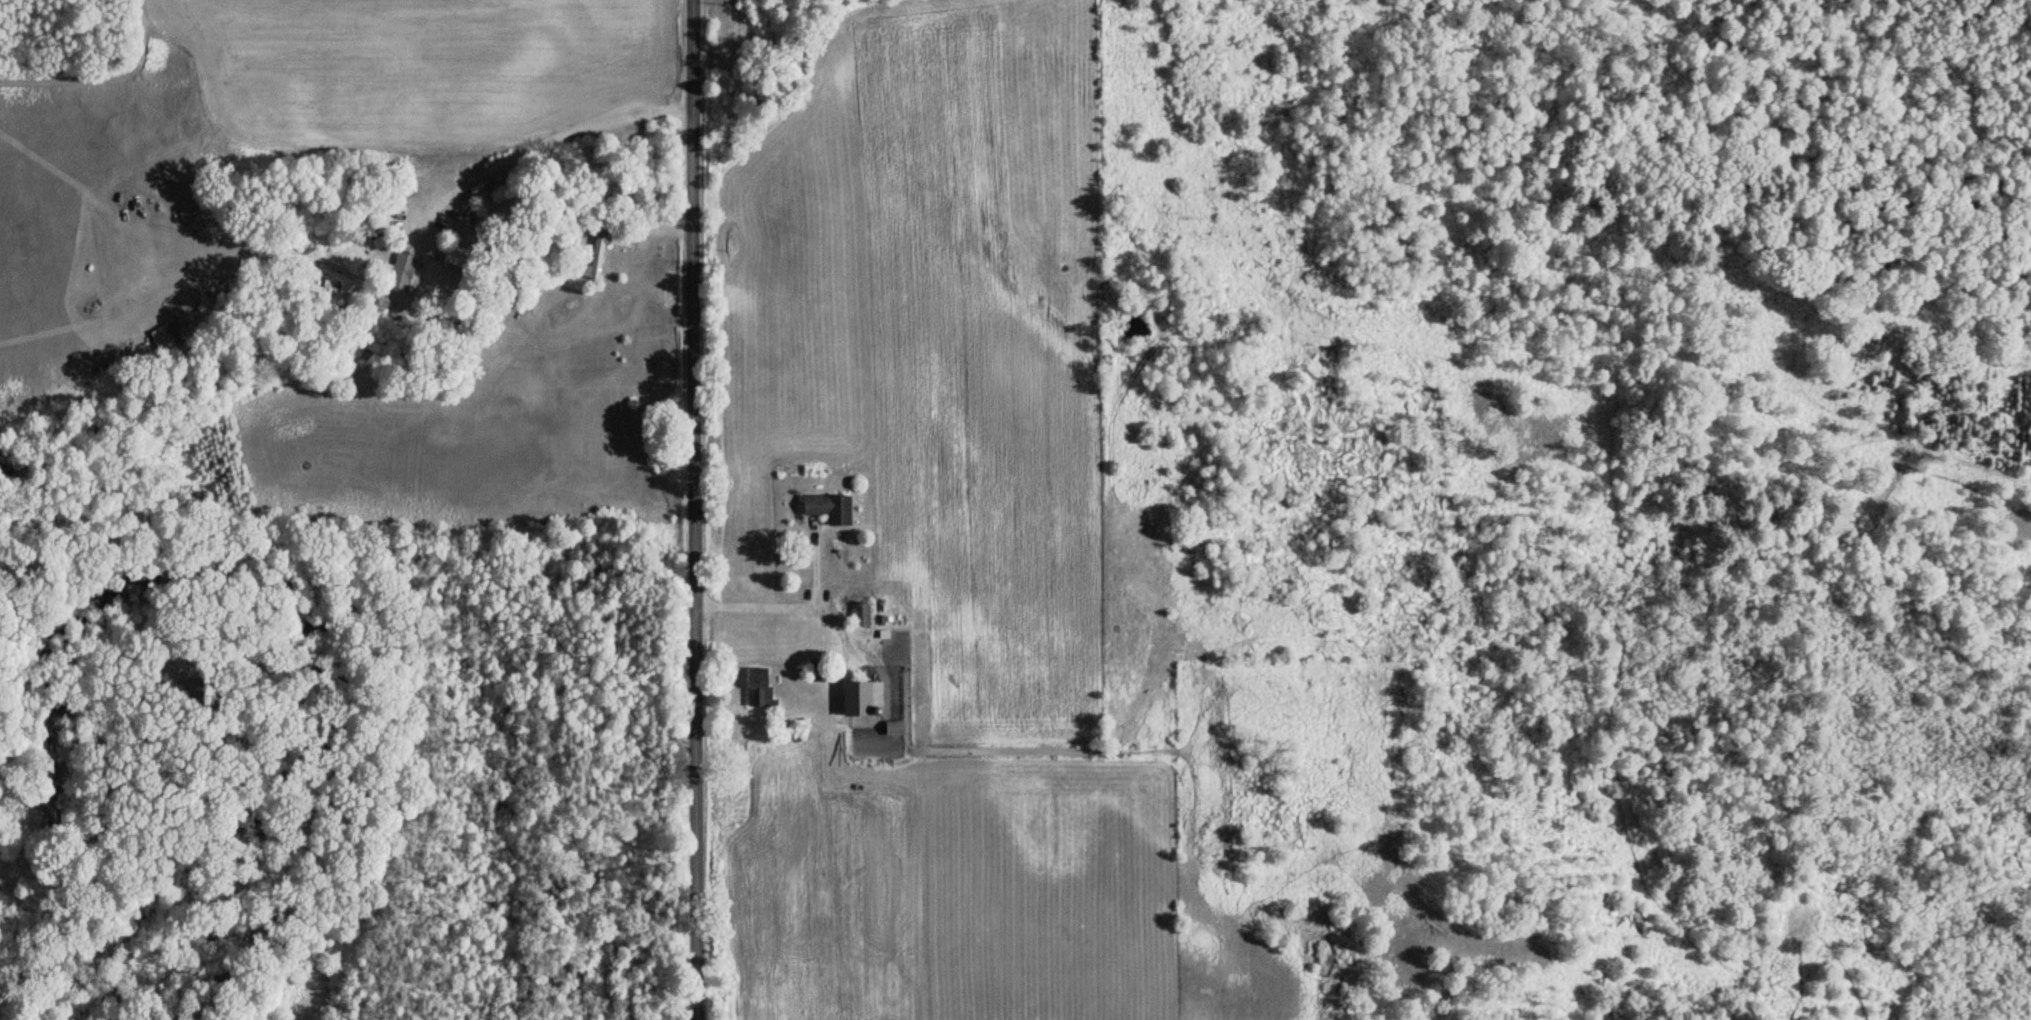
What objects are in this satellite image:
building: (455, 255)
building: (400, 267)
building: (825, 507)
road: (693, 509)
building: (857, 613)
building: (813, 670)
building: (754, 686)
building: (858, 696)
building: (891, 727)
road: (1972, 887)

